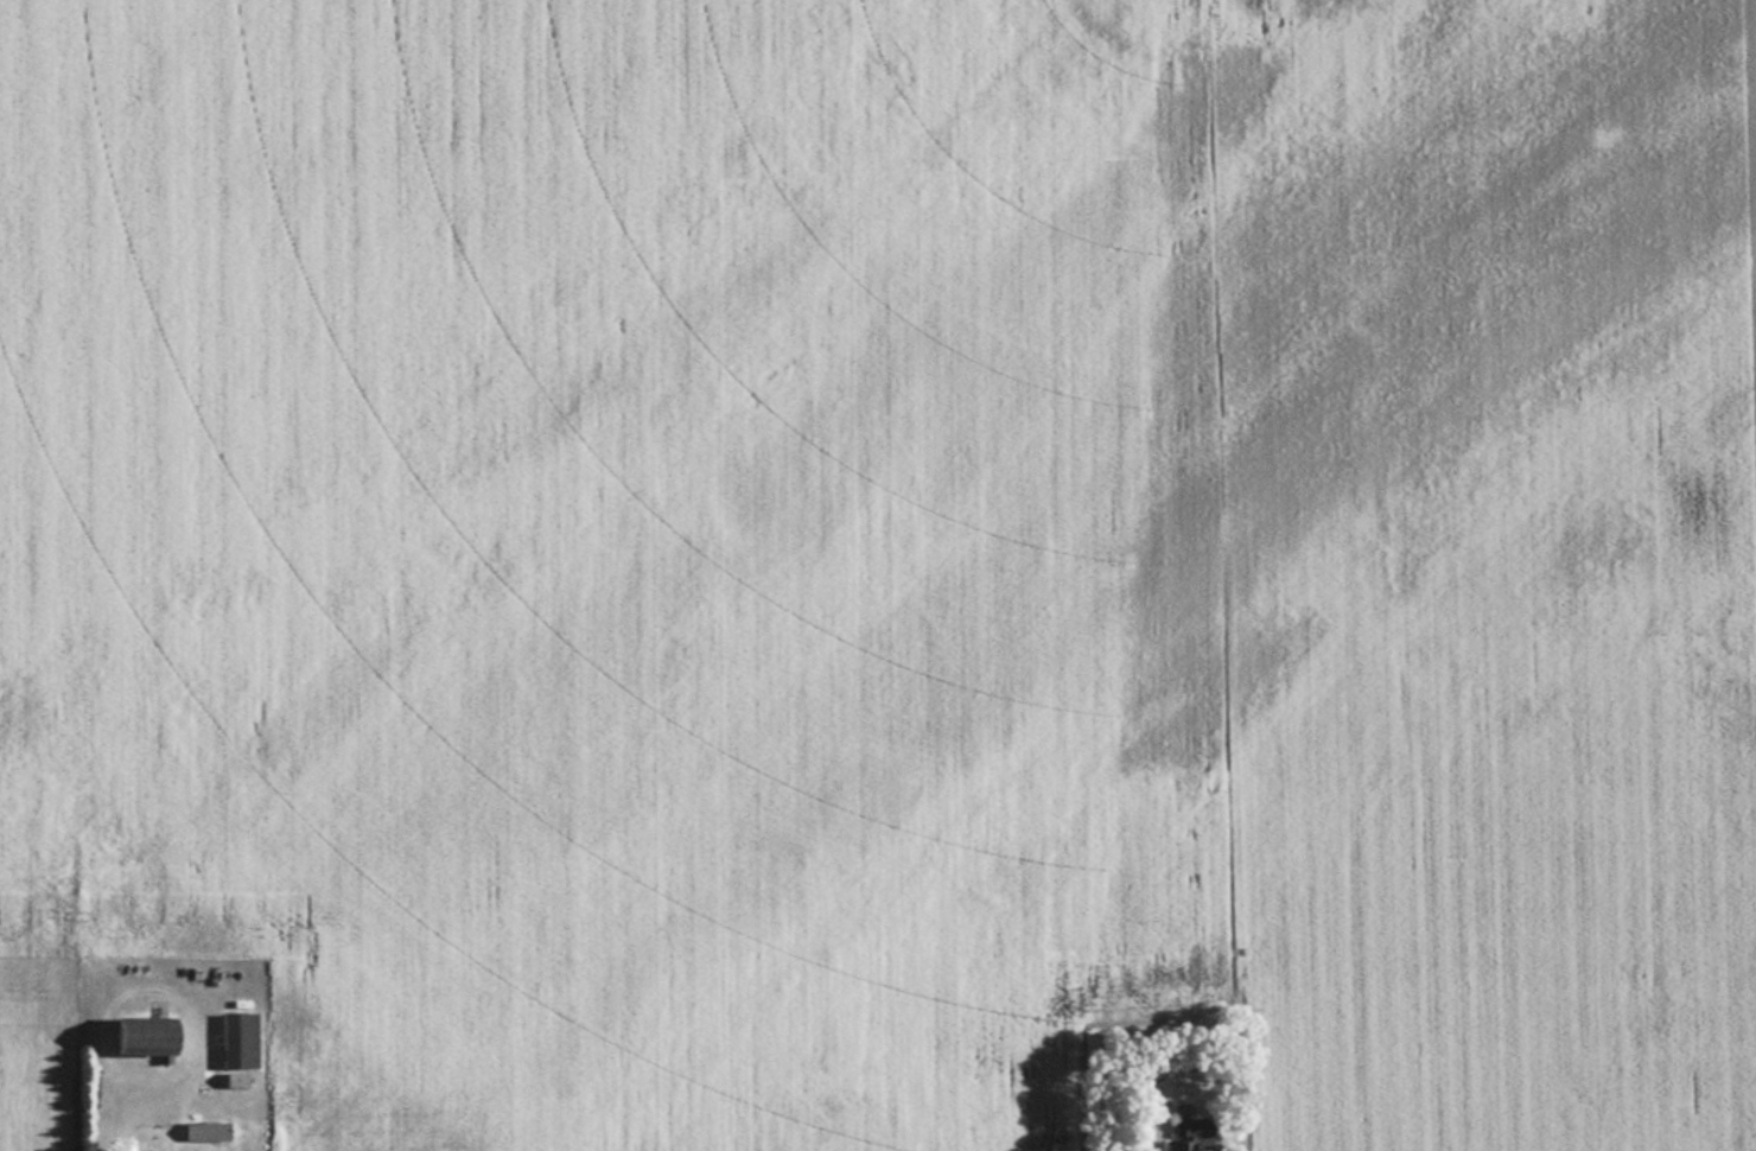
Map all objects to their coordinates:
building: (155, 1034)
building: (242, 1038)
building: (241, 1079)
building: (1189, 1127)
building: (210, 1128)

